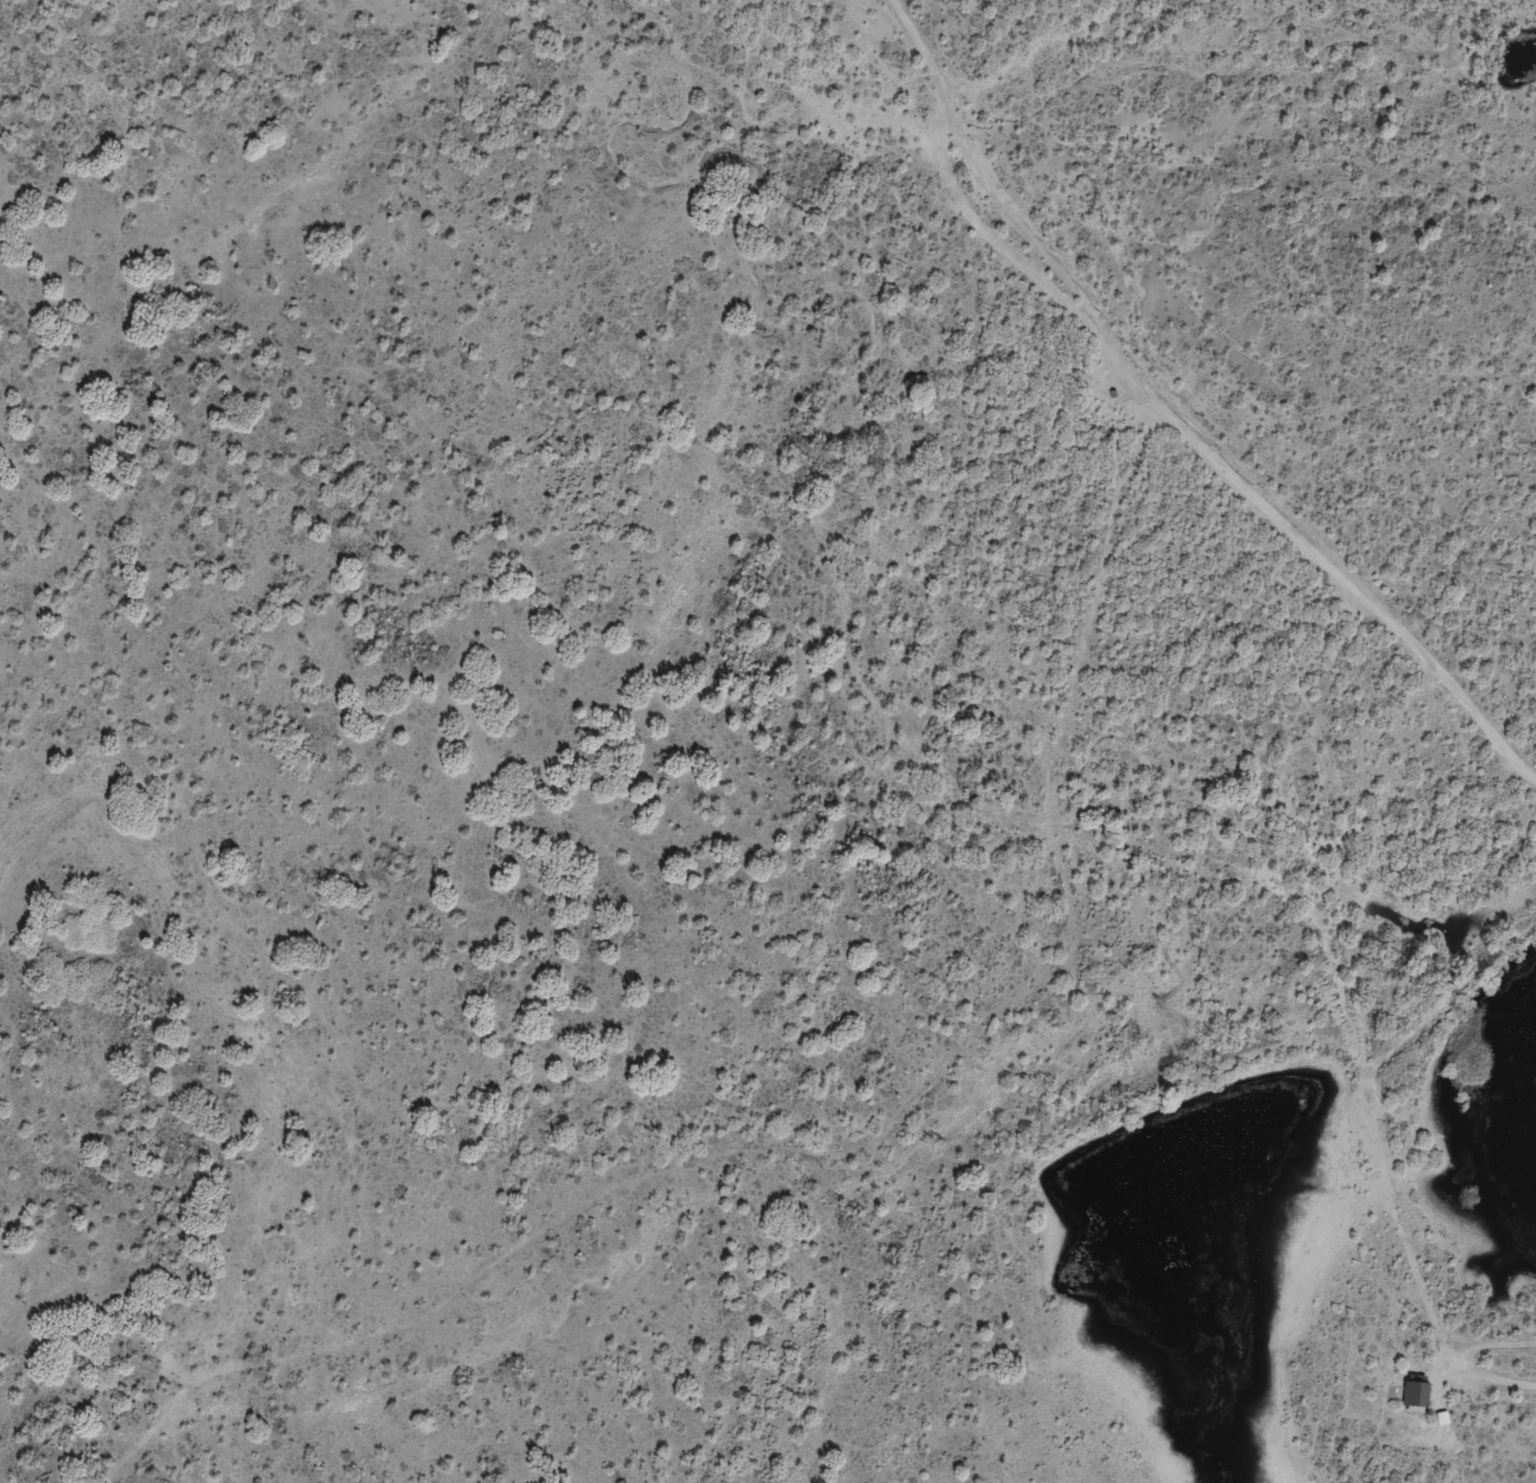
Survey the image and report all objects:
building: (1418, 1406)

